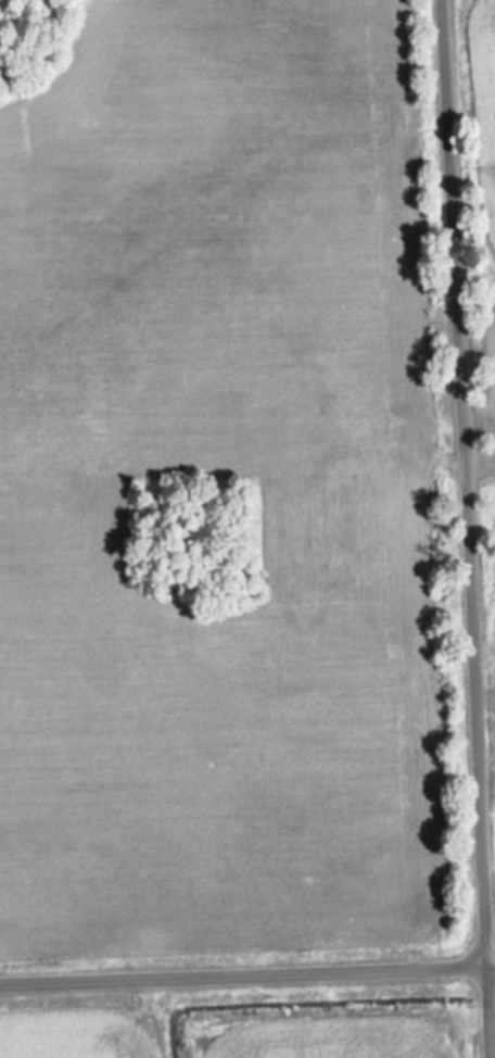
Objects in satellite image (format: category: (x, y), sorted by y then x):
road: (462, 529)
road: (488, 962)
road: (241, 971)

